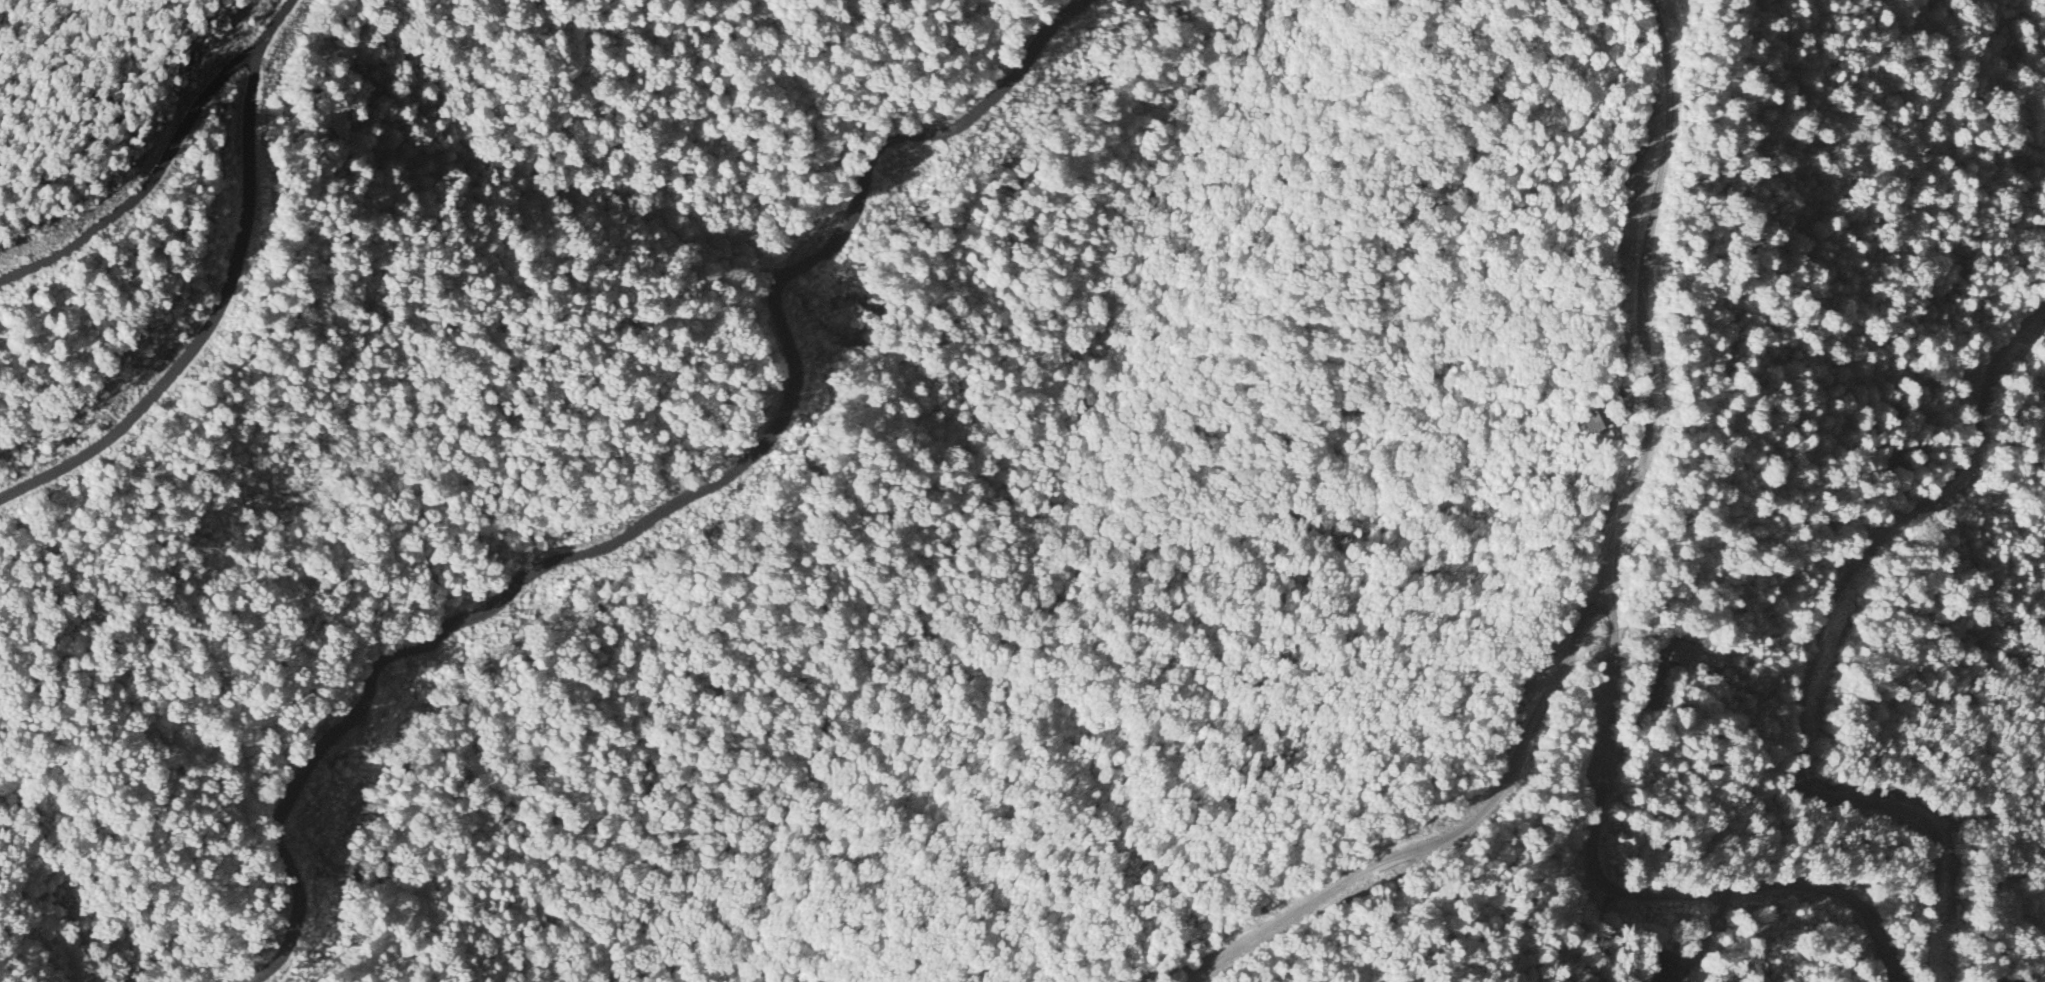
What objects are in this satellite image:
road: (149, 183)
road: (225, 295)
building: (1594, 420)
road: (678, 503)
road: (1604, 589)
building: (1677, 653)
road: (1813, 653)
road: (1632, 889)

